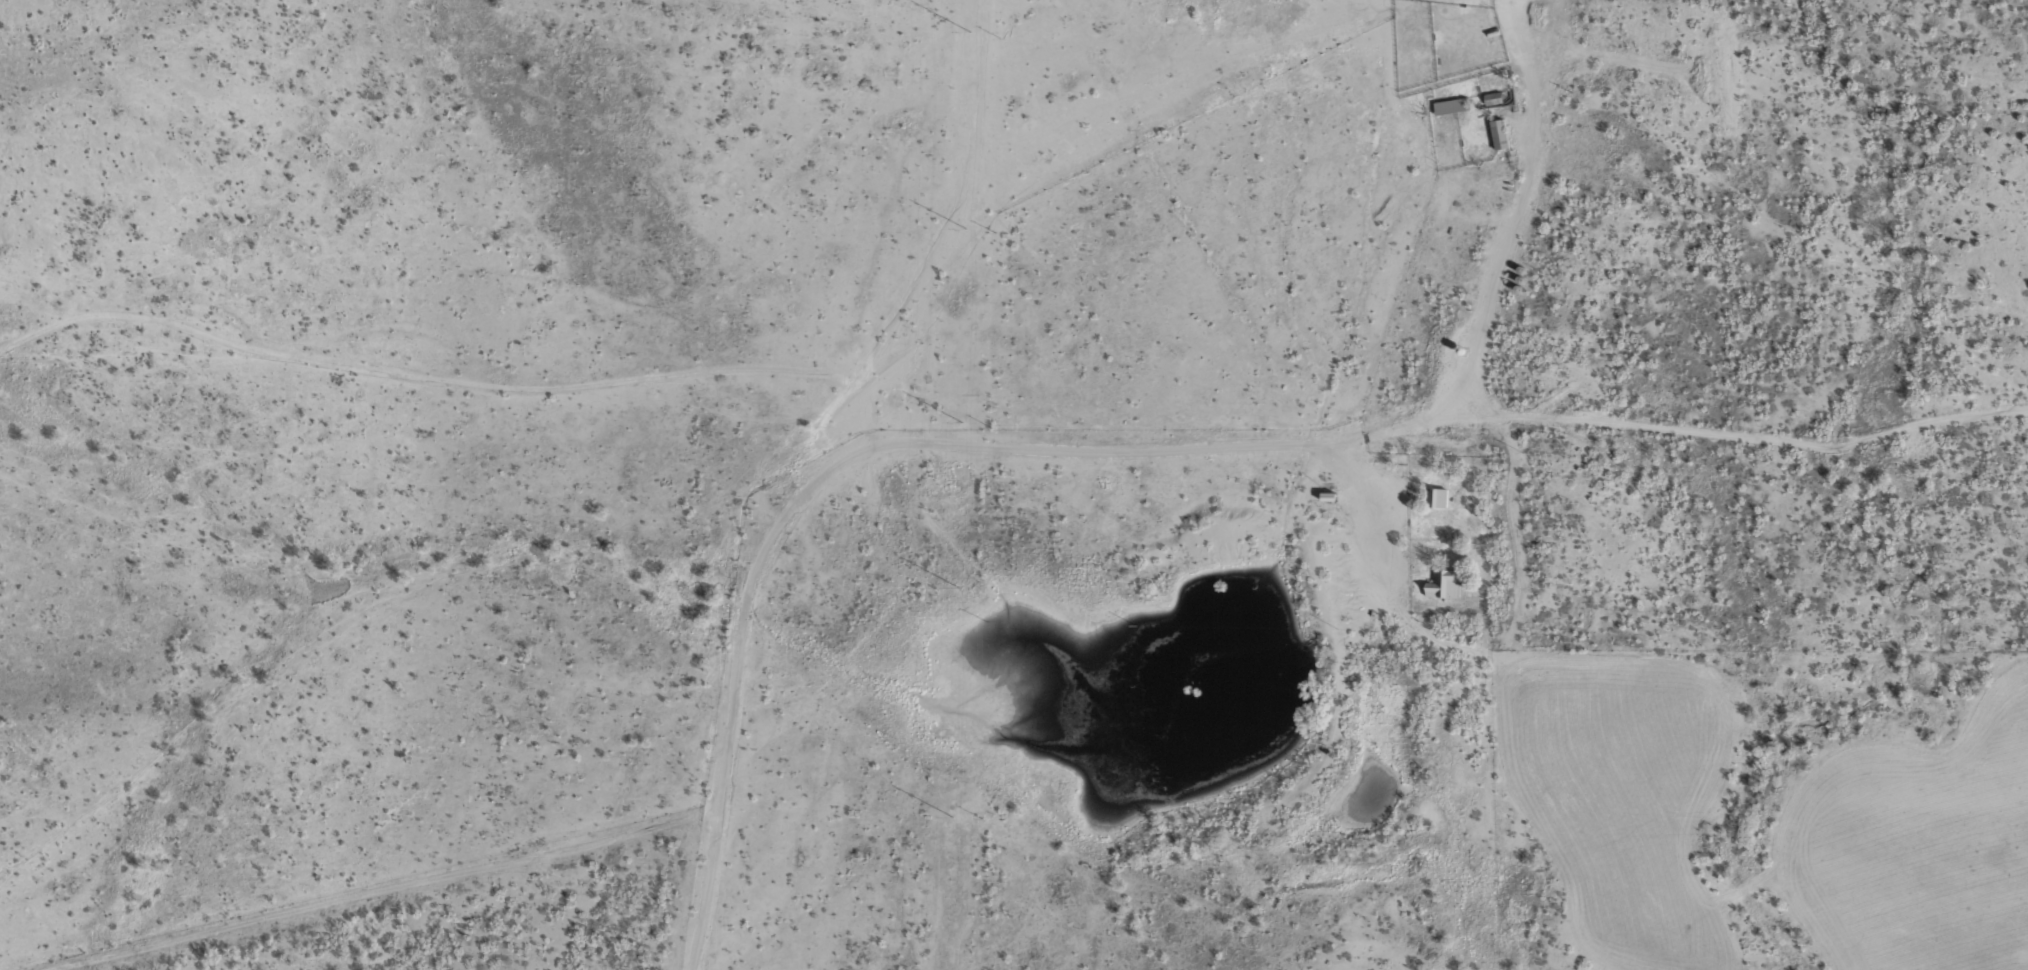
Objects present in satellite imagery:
road: (1499, 215)
road: (991, 473)
building: (1438, 497)
road: (748, 705)

